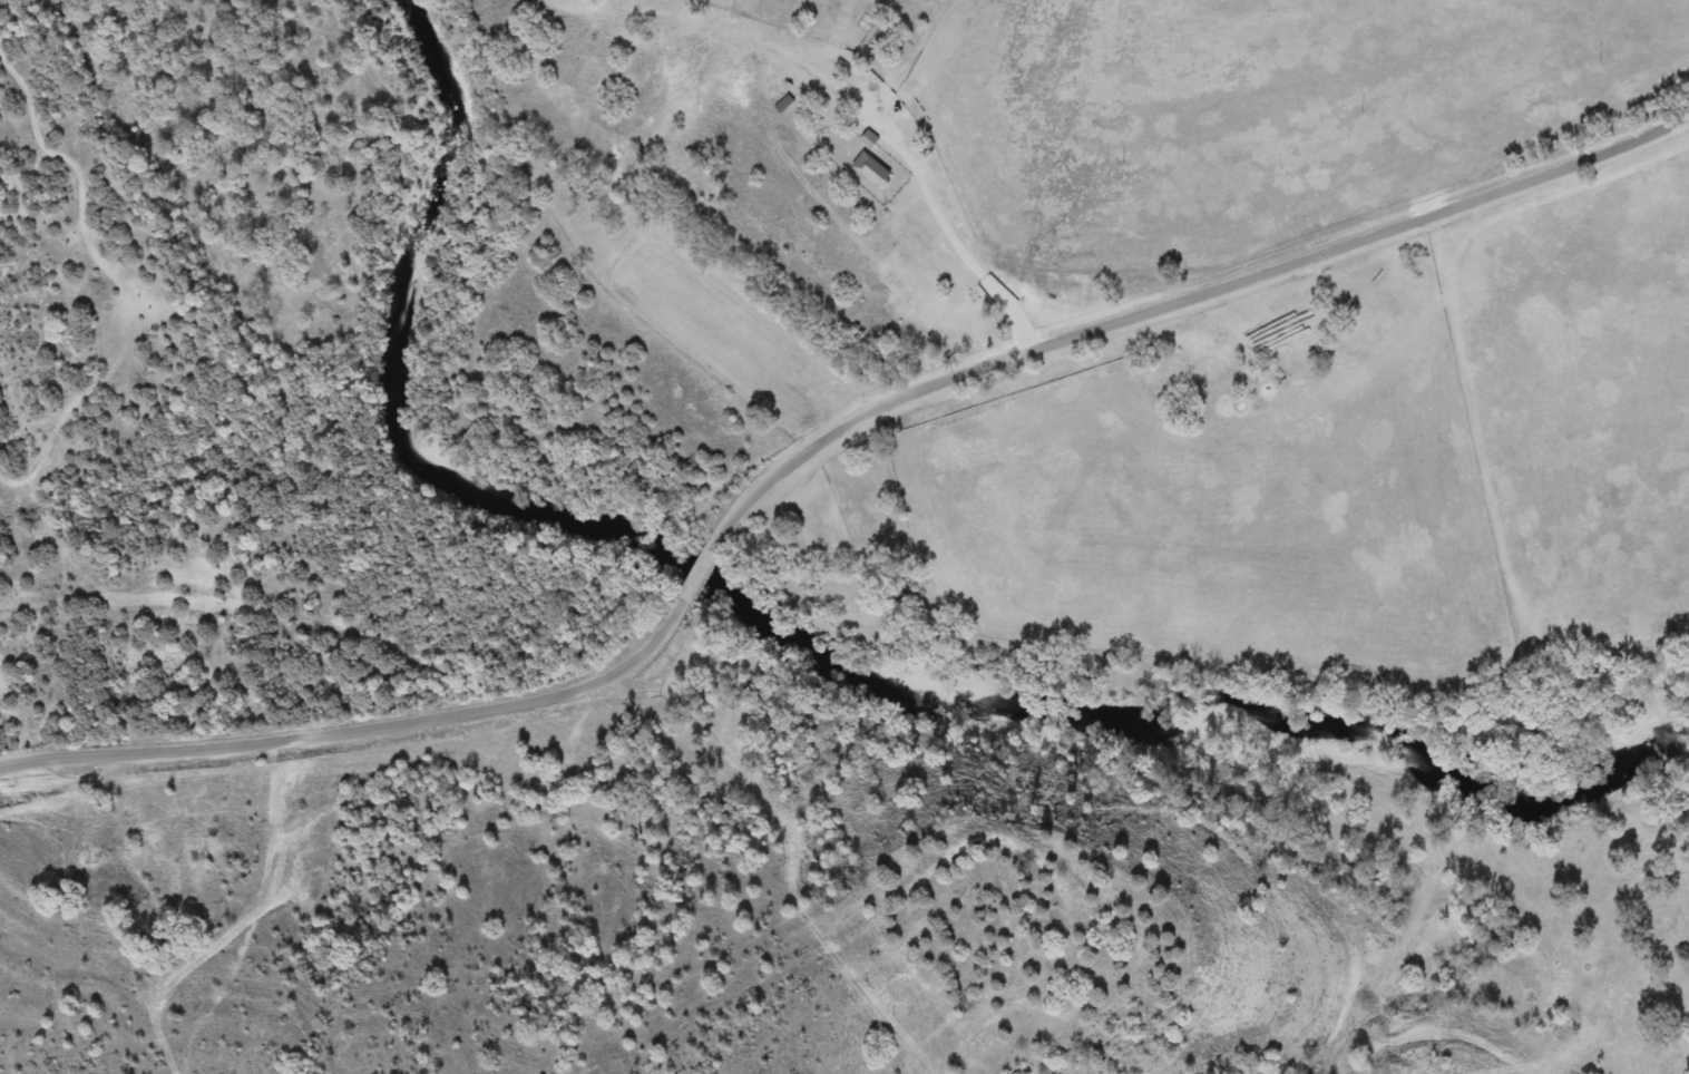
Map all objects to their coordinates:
building: (868, 169)
road: (1185, 301)
road: (690, 577)
road: (350, 739)

